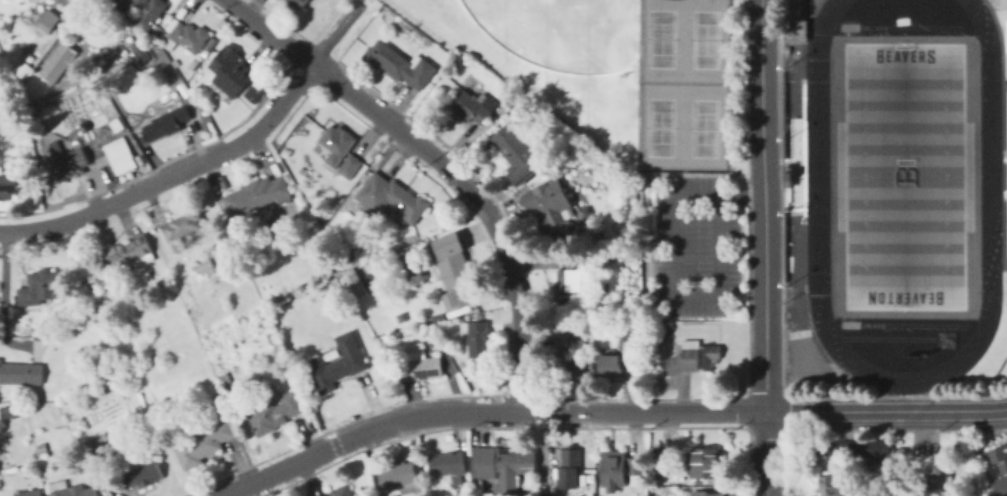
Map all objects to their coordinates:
building: (298, 3)
road: (802, 6)
building: (185, 8)
road: (999, 11)
building: (138, 12)
building: (48, 21)
building: (792, 21)
track: (908, 26)
road: (802, 29)
road: (334, 32)
park: (560, 32)
building: (1006, 35)
building: (188, 38)
park: (660, 38)
park: (704, 38)
road: (1000, 40)
building: (44, 48)
building: (142, 52)
road: (802, 58)
building: (59, 63)
building: (177, 63)
building: (198, 64)
building: (400, 65)
building: (446, 70)
building: (231, 71)
building: (89, 82)
building: (252, 92)
building: (474, 106)
building: (82, 116)
building: (168, 117)
park: (659, 126)
park: (704, 127)
building: (337, 144)
building: (518, 155)
building: (121, 156)
building: (64, 161)
road: (443, 162)
building: (351, 167)
building: (301, 170)
road: (171, 175)
park: (903, 175)
track: (989, 176)
building: (311, 177)
stadium: (903, 180)
building: (12, 185)
building: (258, 196)
building: (393, 198)
building: (551, 203)
building: (182, 228)
parking lot: (696, 245)
road: (764, 247)
building: (130, 254)
building: (349, 256)
building: (222, 259)
building: (205, 267)
road: (675, 269)
building: (452, 270)
building: (381, 272)
building: (335, 279)
building: (164, 280)
building: (569, 282)
building: (354, 284)
building: (1006, 287)
building: (42, 288)
road: (3, 291)
building: (344, 294)
building: (411, 315)
building: (386, 322)
building: (374, 323)
track: (911, 325)
building: (667, 332)
park: (797, 333)
track: (888, 337)
building: (478, 338)
park: (944, 338)
building: (385, 339)
building: (275, 341)
building: (655, 341)
building: (633, 342)
building: (569, 356)
building: (694, 358)
building: (284, 359)
building: (339, 364)
building: (420, 364)
building: (612, 365)
track: (996, 370)
building: (22, 374)
building: (226, 375)
building: (221, 399)
road: (886, 408)
building: (10, 412)
building: (275, 412)
road: (483, 412)
building: (99, 439)
building: (207, 442)
building: (43, 449)
building: (859, 451)
building: (1000, 457)
building: (706, 463)
building: (448, 464)
building: (661, 465)
building: (636, 466)
building: (501, 467)
building: (569, 467)
building: (614, 470)
building: (141, 474)
building: (400, 478)
building: (932, 485)
building: (829, 486)
building: (1001, 486)
building: (72, 490)
building: (340, 491)
building: (30, 493)
building: (706, 493)

